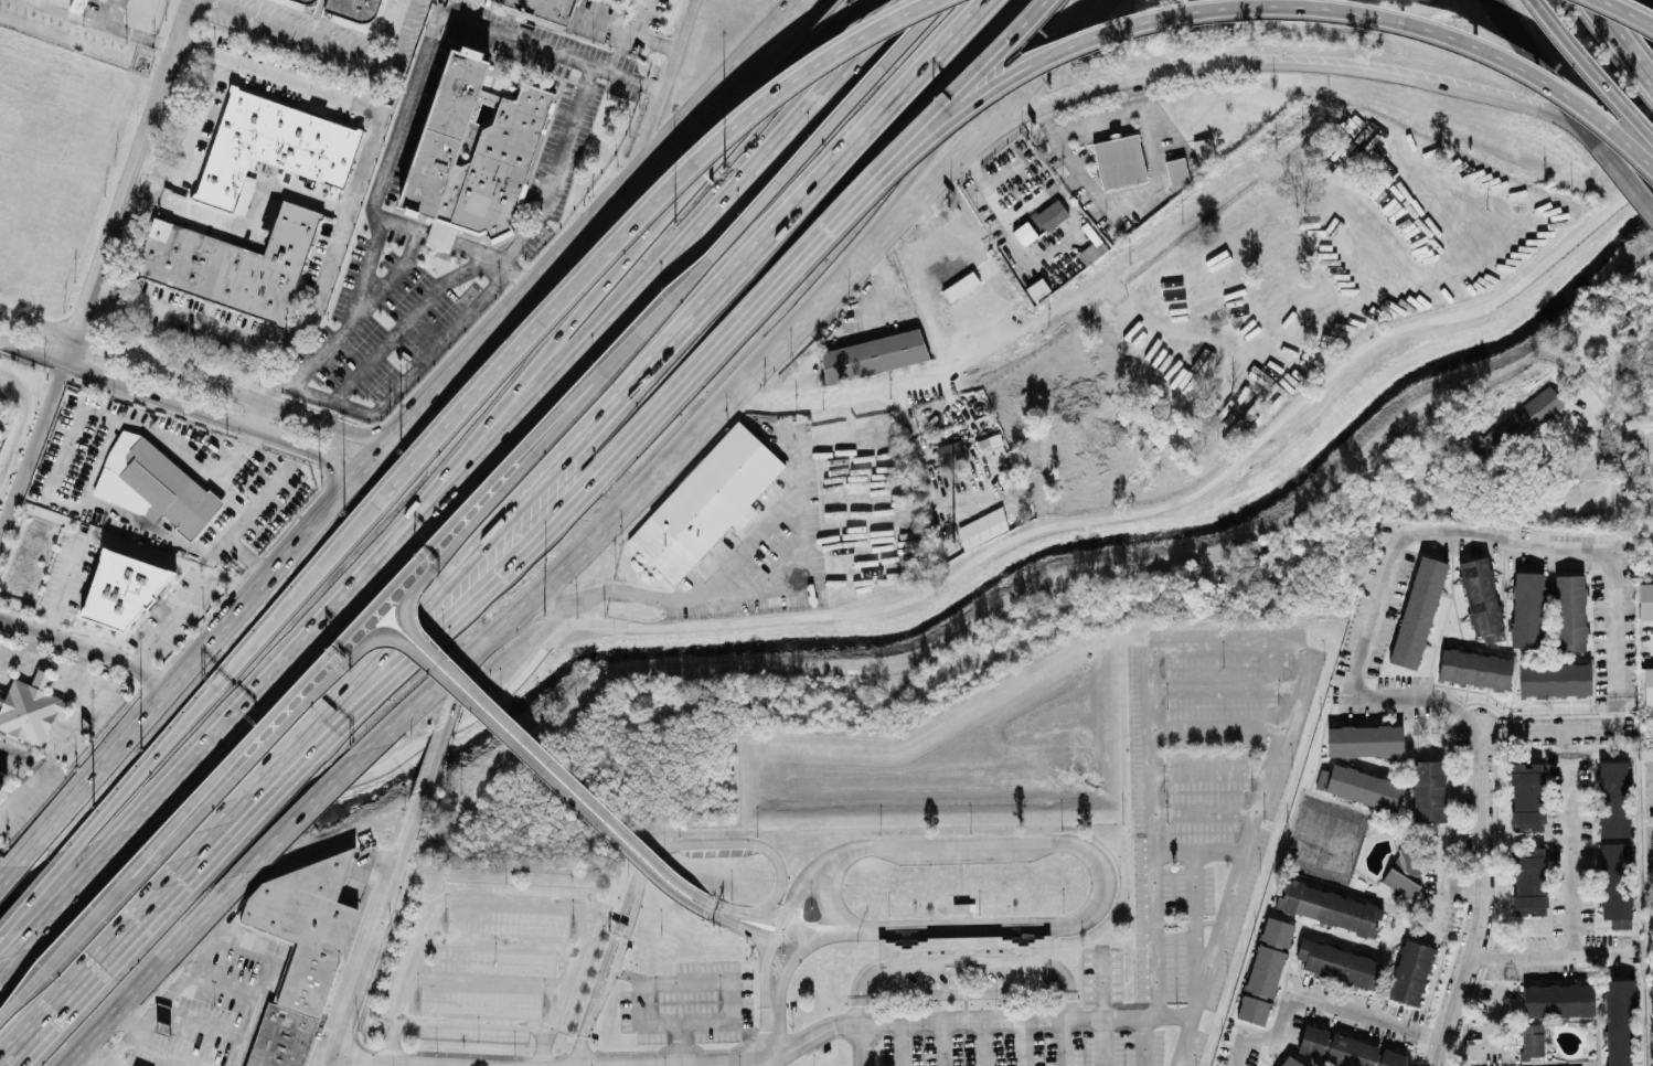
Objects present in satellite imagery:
building: (310, 0)
road: (1261, 4)
building: (78, 6)
road: (454, 7)
building: (542, 7)
road: (798, 7)
road: (800, 7)
building: (354, 9)
road: (1631, 10)
road: (641, 15)
road: (103, 24)
road: (626, 28)
road: (908, 33)
road: (330, 43)
road: (1619, 44)
road: (550, 49)
road: (806, 54)
road: (1279, 65)
road: (1593, 70)
road: (278, 75)
road: (1546, 81)
road: (661, 86)
road: (958, 88)
road: (188, 131)
building: (270, 145)
building: (472, 150)
building: (1203, 150)
building: (1119, 160)
road: (919, 162)
road: (952, 166)
road: (557, 167)
building: (1176, 170)
road: (1629, 190)
road: (855, 194)
road: (859, 195)
road: (1126, 202)
road: (756, 203)
road: (1026, 204)
road: (644, 212)
building: (1051, 214)
road: (928, 218)
road: (249, 222)
road: (376, 222)
road: (1006, 228)
building: (1024, 233)
road: (456, 243)
building: (1091, 244)
building: (230, 263)
road: (99, 265)
building: (950, 268)
road: (391, 274)
road: (883, 277)
building: (979, 283)
building: (1037, 289)
road: (407, 318)
road: (1151, 318)
road: (301, 322)
road: (1004, 338)
road: (707, 354)
building: (872, 354)
road: (71, 364)
road: (241, 364)
road: (410, 373)
road: (195, 379)
road: (553, 384)
road: (622, 391)
road: (198, 408)
road: (257, 414)
building: (1527, 415)
road: (140, 424)
road: (394, 430)
road: (908, 431)
road: (273, 434)
road: (779, 434)
road: (473, 435)
building: (1486, 444)
road: (1642, 444)
building: (948, 454)
road: (326, 460)
building: (167, 489)
road: (801, 503)
building: (705, 504)
road: (1438, 531)
road: (588, 539)
road: (64, 580)
road: (306, 580)
road: (609, 587)
building: (117, 591)
building: (1481, 599)
building: (1645, 599)
road: (861, 609)
building: (1527, 609)
building: (1417, 610)
building: (1568, 611)
road: (171, 618)
road: (429, 635)
road: (1652, 636)
road: (395, 638)
river: (867, 641)
road: (87, 644)
road: (25, 646)
road: (428, 646)
road: (15, 663)
road: (50, 665)
road: (81, 667)
building: (1474, 668)
road: (310, 672)
road: (42, 674)
building: (1554, 678)
building: (1647, 684)
road: (1222, 685)
road: (455, 689)
road: (90, 701)
building: (29, 707)
road: (1215, 723)
road: (1557, 729)
building: (1364, 739)
road: (434, 756)
road: (150, 759)
road: (1269, 761)
parking lot: (1207, 763)
road: (1209, 769)
building: (2, 772)
road: (45, 774)
building: (1359, 785)
road: (159, 789)
building: (1427, 789)
building: (1526, 796)
building: (1612, 797)
road: (313, 807)
road: (239, 809)
road: (1204, 809)
road: (225, 812)
road: (1132, 823)
road: (409, 824)
road: (1152, 830)
road: (1083, 841)
road: (1570, 842)
road: (1196, 850)
road: (651, 853)
road: (7, 872)
building: (1403, 873)
road: (164, 878)
building: (1527, 881)
road: (42, 884)
building: (1614, 884)
road: (1439, 886)
road: (1460, 887)
road: (67, 888)
road: (828, 895)
road: (509, 902)
road: (1481, 902)
building: (1327, 907)
road: (753, 914)
road: (735, 925)
building: (306, 926)
road: (808, 927)
road: (1193, 932)
road: (501, 936)
building: (962, 949)
road: (962, 949)
road: (618, 951)
road: (1554, 955)
road: (361, 958)
road: (2, 960)
building: (1339, 962)
road: (787, 968)
road: (158, 969)
road: (963, 969)
building: (1263, 970)
road: (762, 972)
building: (1410, 972)
road: (966, 973)
road: (488, 977)
road: (694, 979)
road: (963, 980)
road: (265, 982)
road: (221, 984)
road: (66, 985)
road: (964, 992)
road: (1311, 998)
building: (1556, 1000)
road: (158, 1001)
road: (964, 1003)
road: (1121, 1004)
road: (1085, 1005)
road: (1100, 1005)
road: (1022, 1006)
road: (856, 1010)
road: (915, 1010)
road: (1491, 1013)
road: (1173, 1015)
road: (1129, 1016)
road: (966, 1017)
road: (983, 1019)
road: (473, 1020)
road: (125, 1022)
road: (198, 1023)
road: (862, 1035)
building: (279, 1038)
building: (1531, 1040)
road: (818, 1041)
road: (1103, 1041)
road: (1142, 1041)
road: (1184, 1041)
road: (982, 1042)
road: (1022, 1042)
road: (1062, 1042)
road: (680, 1043)
road: (897, 1043)
road: (941, 1043)
road: (768, 1044)
road: (1473, 1045)
building: (1346, 1048)
road: (852, 1049)
road: (604, 1051)
road: (872, 1051)
road: (157, 1053)
building: (1620, 1058)
road: (82, 1060)
building: (1288, 1060)
road: (698, 1063)
road: (323, 1064)
road: (355, 1064)
building: (135, 1065)

